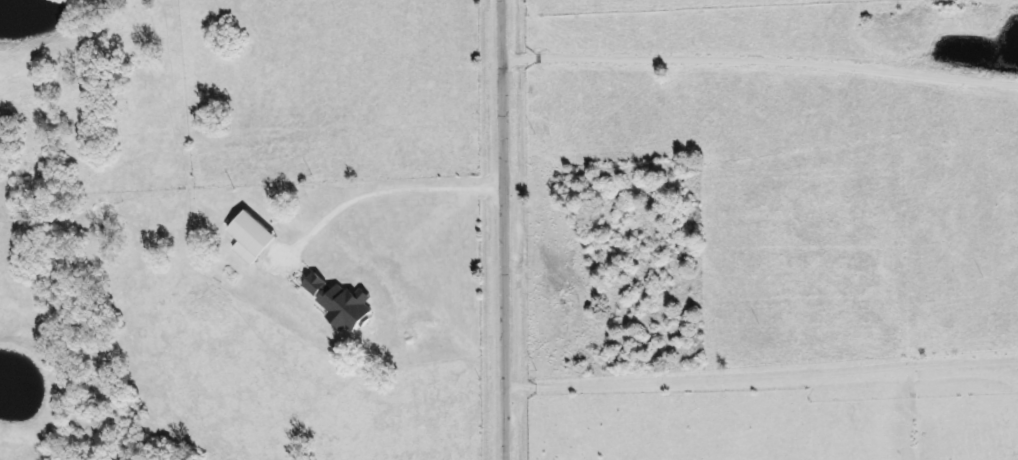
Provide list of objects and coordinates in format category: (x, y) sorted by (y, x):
road: (762, 62)
road: (254, 133)
road: (343, 207)
road: (508, 229)
road: (764, 376)
road: (679, 420)

